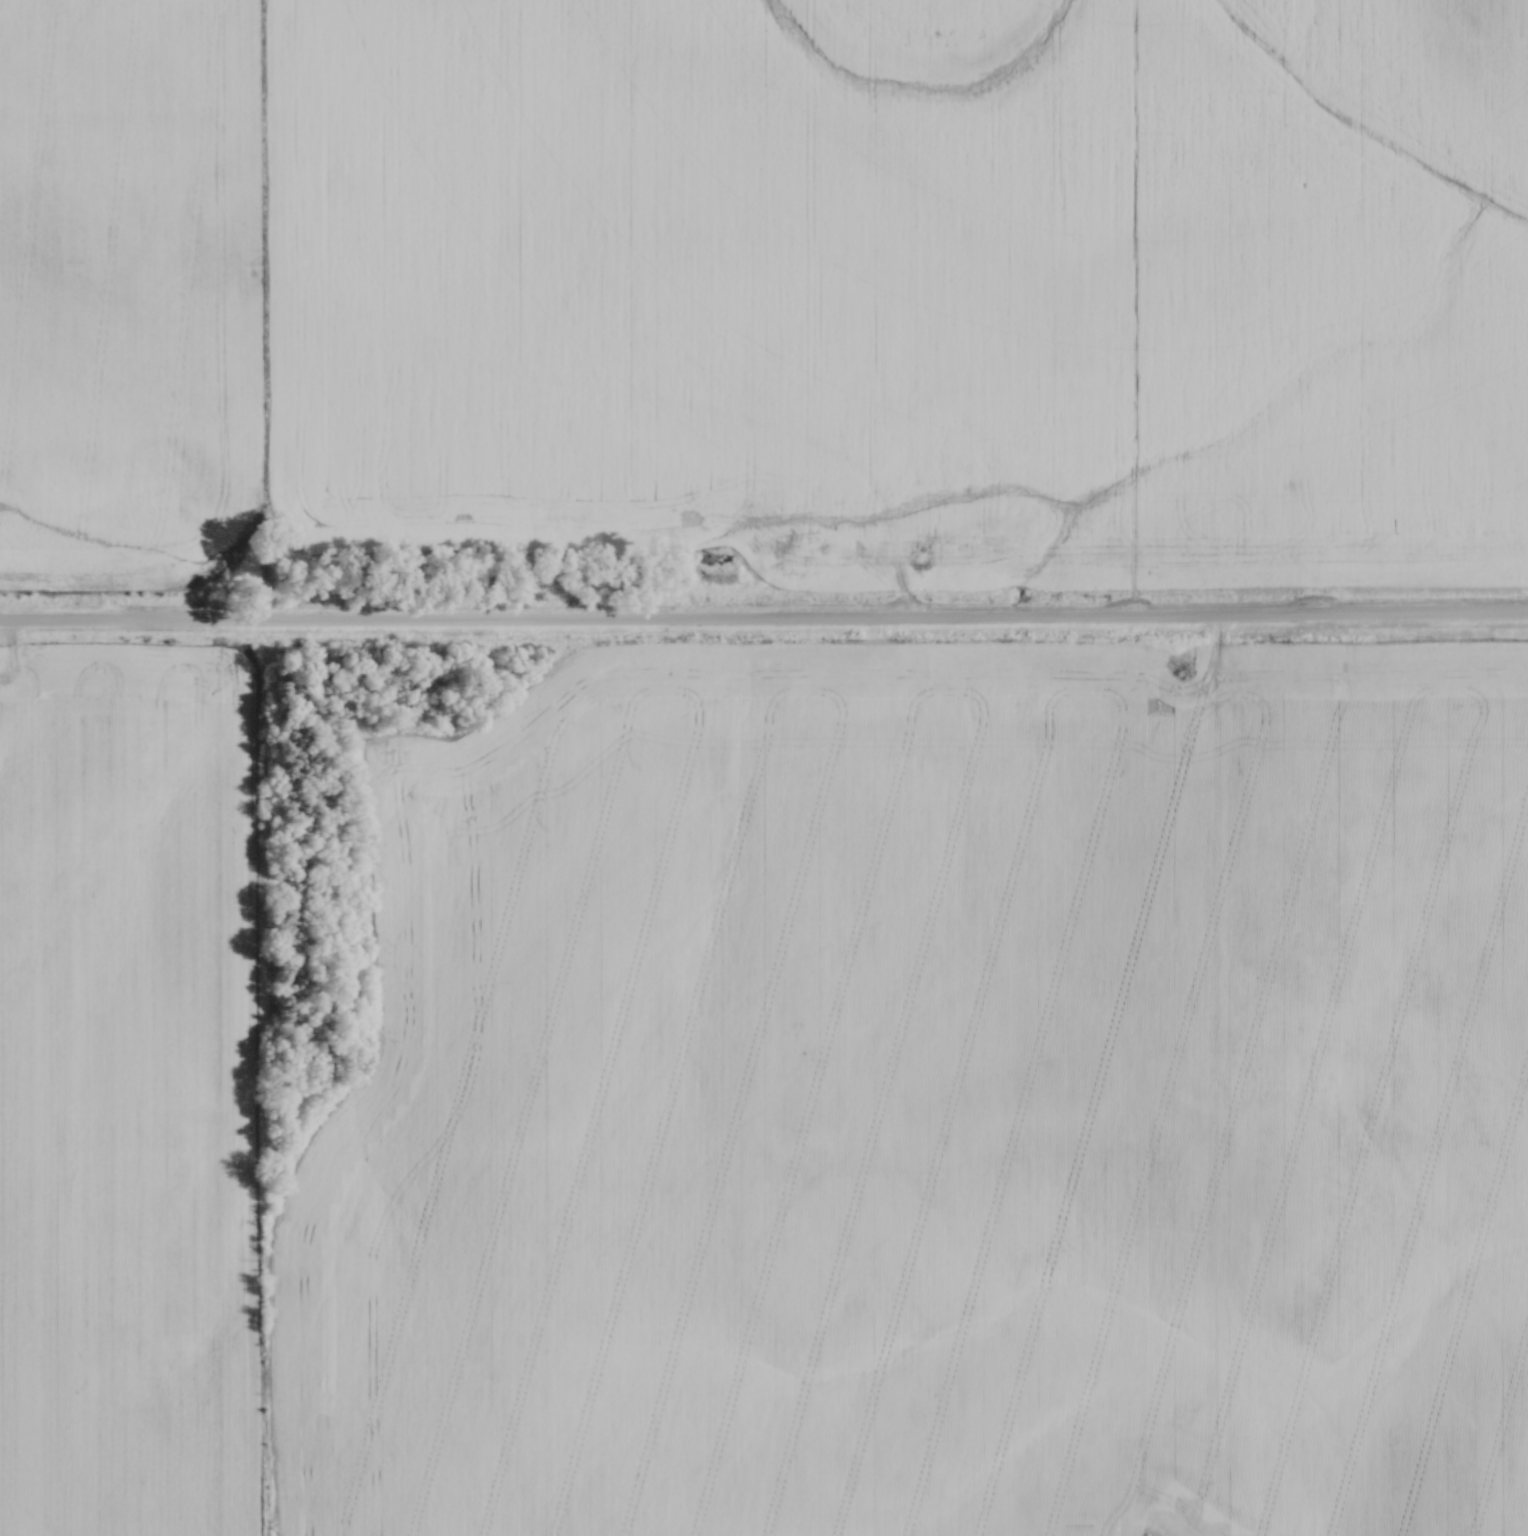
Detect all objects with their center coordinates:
road: (763, 617)

